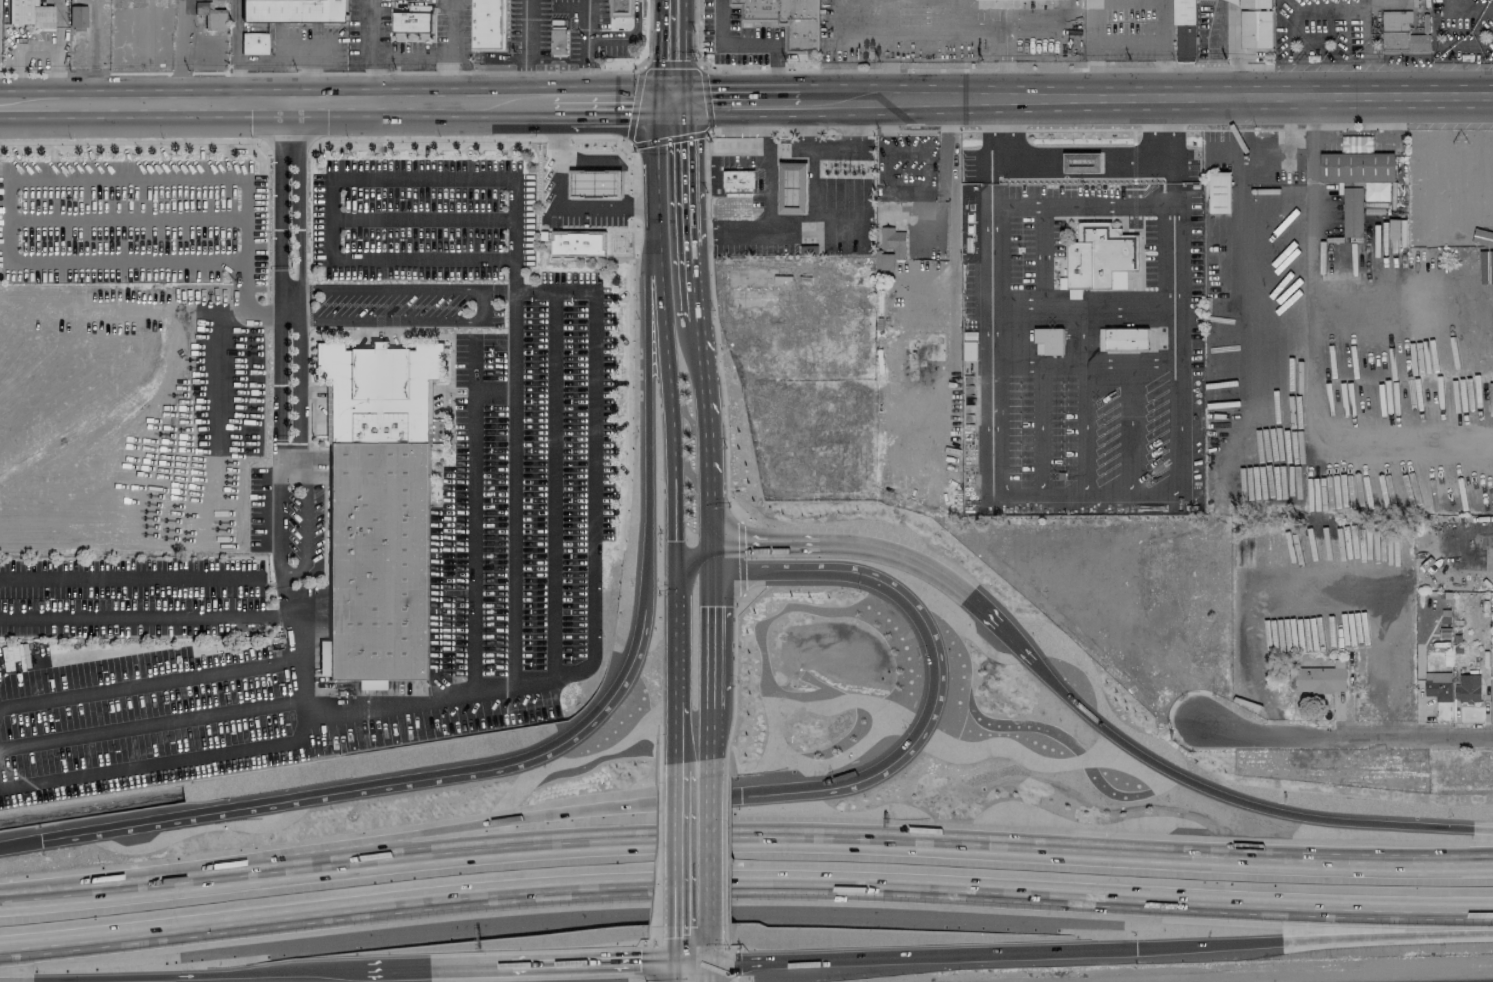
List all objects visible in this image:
building: (999, 0)
road: (1128, 1)
building: (1256, 4)
road: (1467, 7)
building: (620, 8)
building: (290, 10)
building: (30, 14)
road: (1072, 14)
road: (1093, 14)
road: (962, 15)
building: (78, 17)
building: (412, 20)
building: (785, 20)
road: (1164, 21)
building: (486, 24)
road: (372, 26)
road: (982, 29)
building: (1256, 29)
road: (884, 30)
building: (1184, 31)
building: (1400, 33)
road: (625, 34)
road: (1321, 38)
building: (558, 41)
road: (1103, 42)
building: (254, 43)
road: (750, 46)
road: (585, 50)
road: (1230, 50)
road: (447, 51)
road: (525, 51)
road: (235, 52)
road: (384, 52)
road: (670, 52)
road: (93, 54)
road: (280, 60)
road: (184, 61)
road: (1003, 63)
road: (1368, 64)
road: (886, 65)
road: (1314, 67)
road: (1093, 70)
road: (307, 71)
road: (1170, 96)
road: (826, 100)
road: (786, 101)
road: (800, 101)
road: (538, 102)
road: (568, 102)
road: (722, 102)
road: (626, 103)
road: (262, 104)
traffic signals: (668, 104)
road: (288, 121)
road: (1361, 133)
road: (1241, 142)
building: (1357, 146)
road: (1316, 159)
road: (780, 163)
building: (1081, 163)
building: (600, 164)
road: (887, 170)
building: (1360, 172)
road: (53, 179)
building: (792, 188)
building: (735, 193)
building: (1219, 193)
road: (557, 203)
road: (1079, 204)
road: (951, 211)
building: (1352, 212)
road: (128, 218)
road: (688, 218)
road: (280, 223)
building: (1396, 229)
road: (1171, 231)
road: (833, 233)
building: (577, 245)
building: (891, 248)
building: (1098, 256)
road: (913, 281)
road: (397, 291)
building: (1074, 294)
road: (988, 296)
road: (1080, 310)
road: (1248, 313)
road: (393, 320)
building: (1122, 339)
building: (1049, 340)
road: (1081, 366)
road: (298, 377)
road: (594, 378)
road: (1318, 385)
road: (667, 401)
road: (701, 405)
road: (1173, 429)
road: (289, 464)
road: (1081, 491)
road: (513, 492)
building: (380, 505)
road: (278, 520)
road: (710, 522)
road: (304, 527)
building: (1243, 543)
traffic signals: (674, 554)
traffic signals: (675, 573)
road: (694, 573)
road: (128, 577)
road: (959, 593)
road: (712, 641)
building: (1321, 679)
road: (147, 684)
building: (1438, 686)
building: (1467, 688)
road: (679, 731)
road: (711, 734)
road: (1344, 735)
road: (546, 748)
road: (154, 765)
road: (696, 799)
road: (1337, 821)
road: (745, 839)
road: (678, 841)
road: (710, 841)
road: (745, 883)
road: (1313, 940)
road: (676, 942)
road: (709, 953)
road: (943, 955)
traffic signals: (676, 960)
road: (692, 960)
road: (730, 960)
road: (521, 967)
road: (675, 971)
road: (183, 976)

